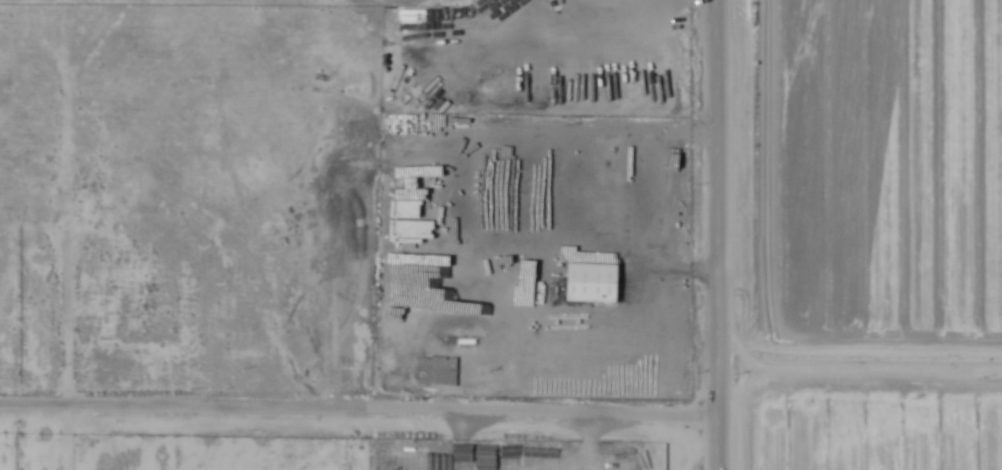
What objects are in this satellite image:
road: (74, 64)
crop: (849, 234)
road: (715, 235)
road: (64, 270)
building: (591, 283)
road: (357, 414)

